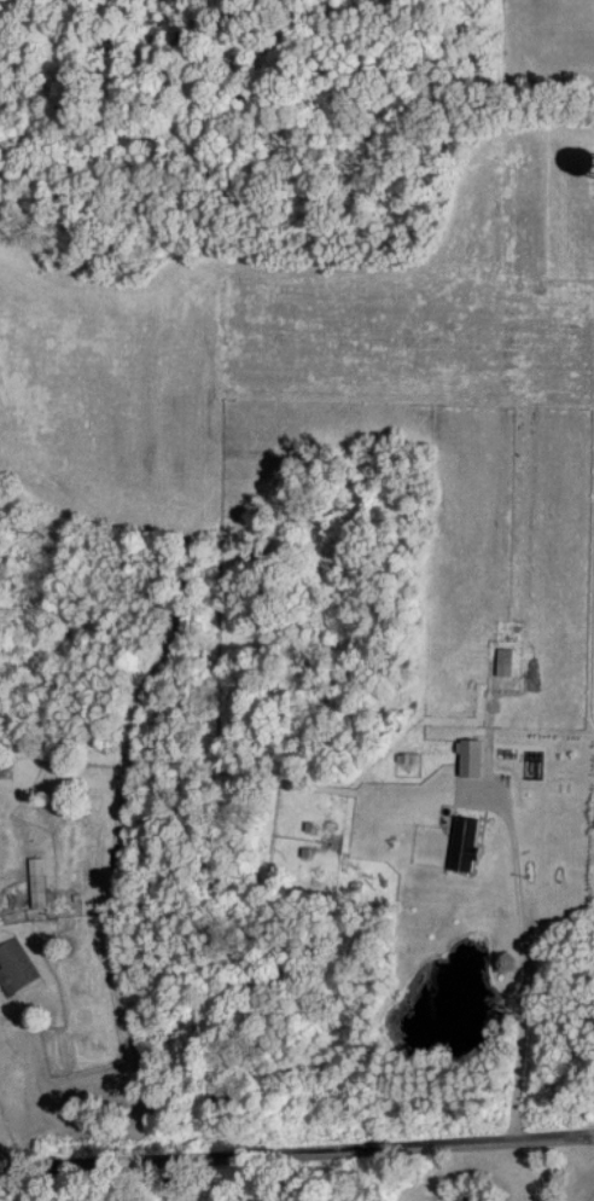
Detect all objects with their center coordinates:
building: (501, 660)
building: (465, 755)
building: (460, 841)
building: (34, 881)
road: (520, 956)
building: (14, 964)
road: (296, 1150)

